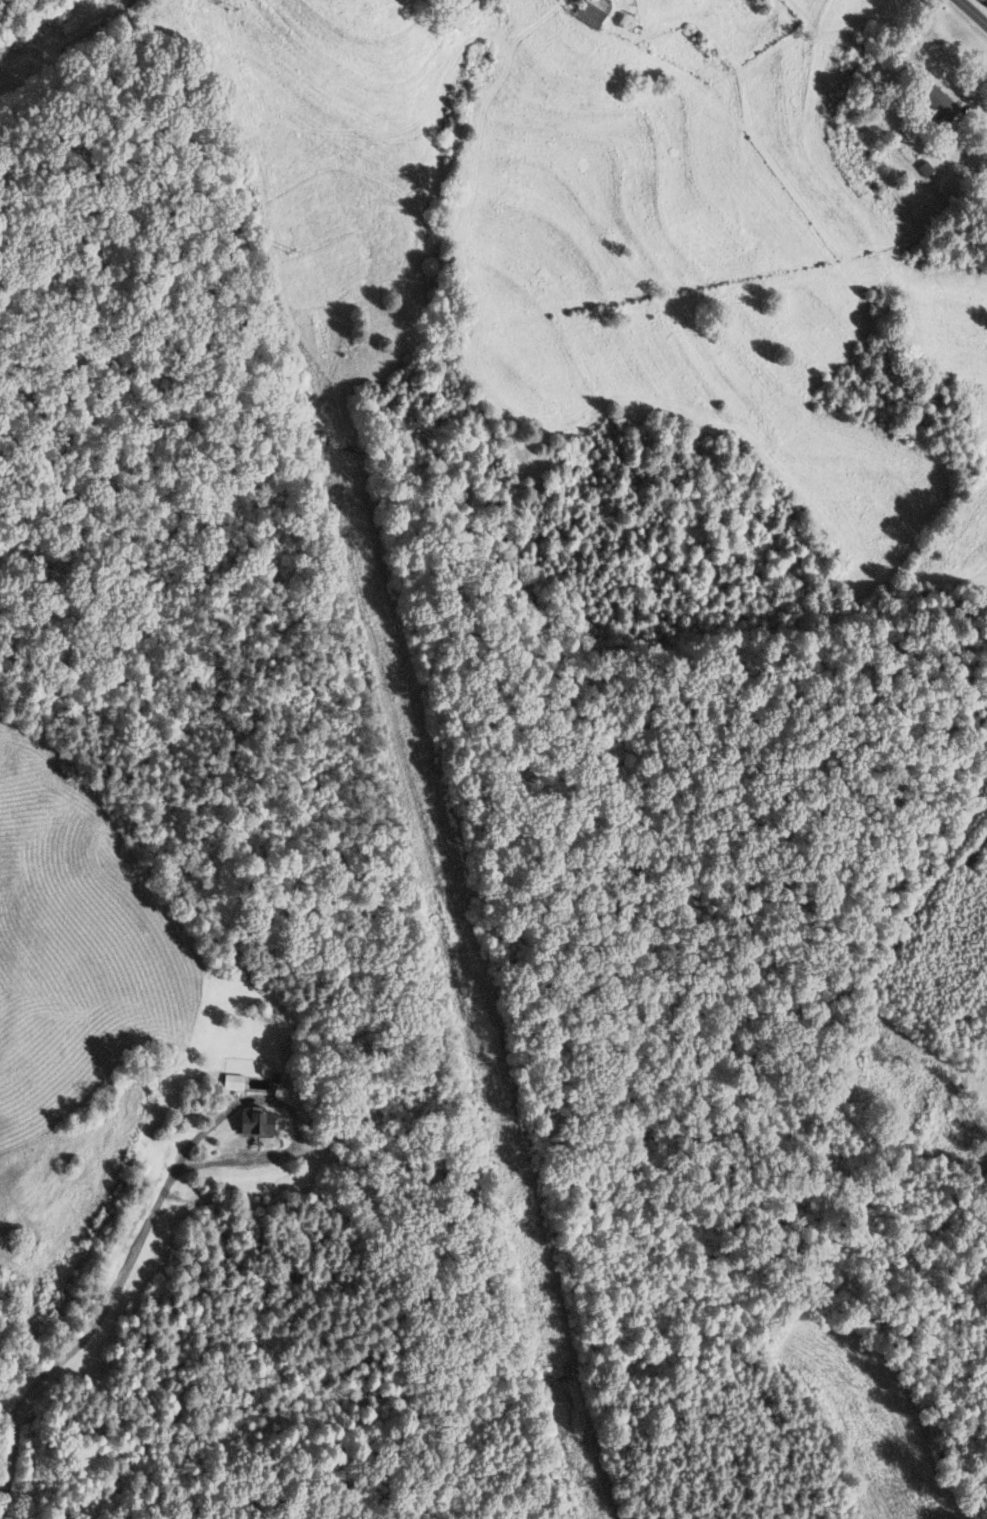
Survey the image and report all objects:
road: (968, 19)
building: (935, 102)
road: (915, 935)
road: (291, 1113)
building: (251, 1122)
building: (451, 1185)
road: (86, 1336)

